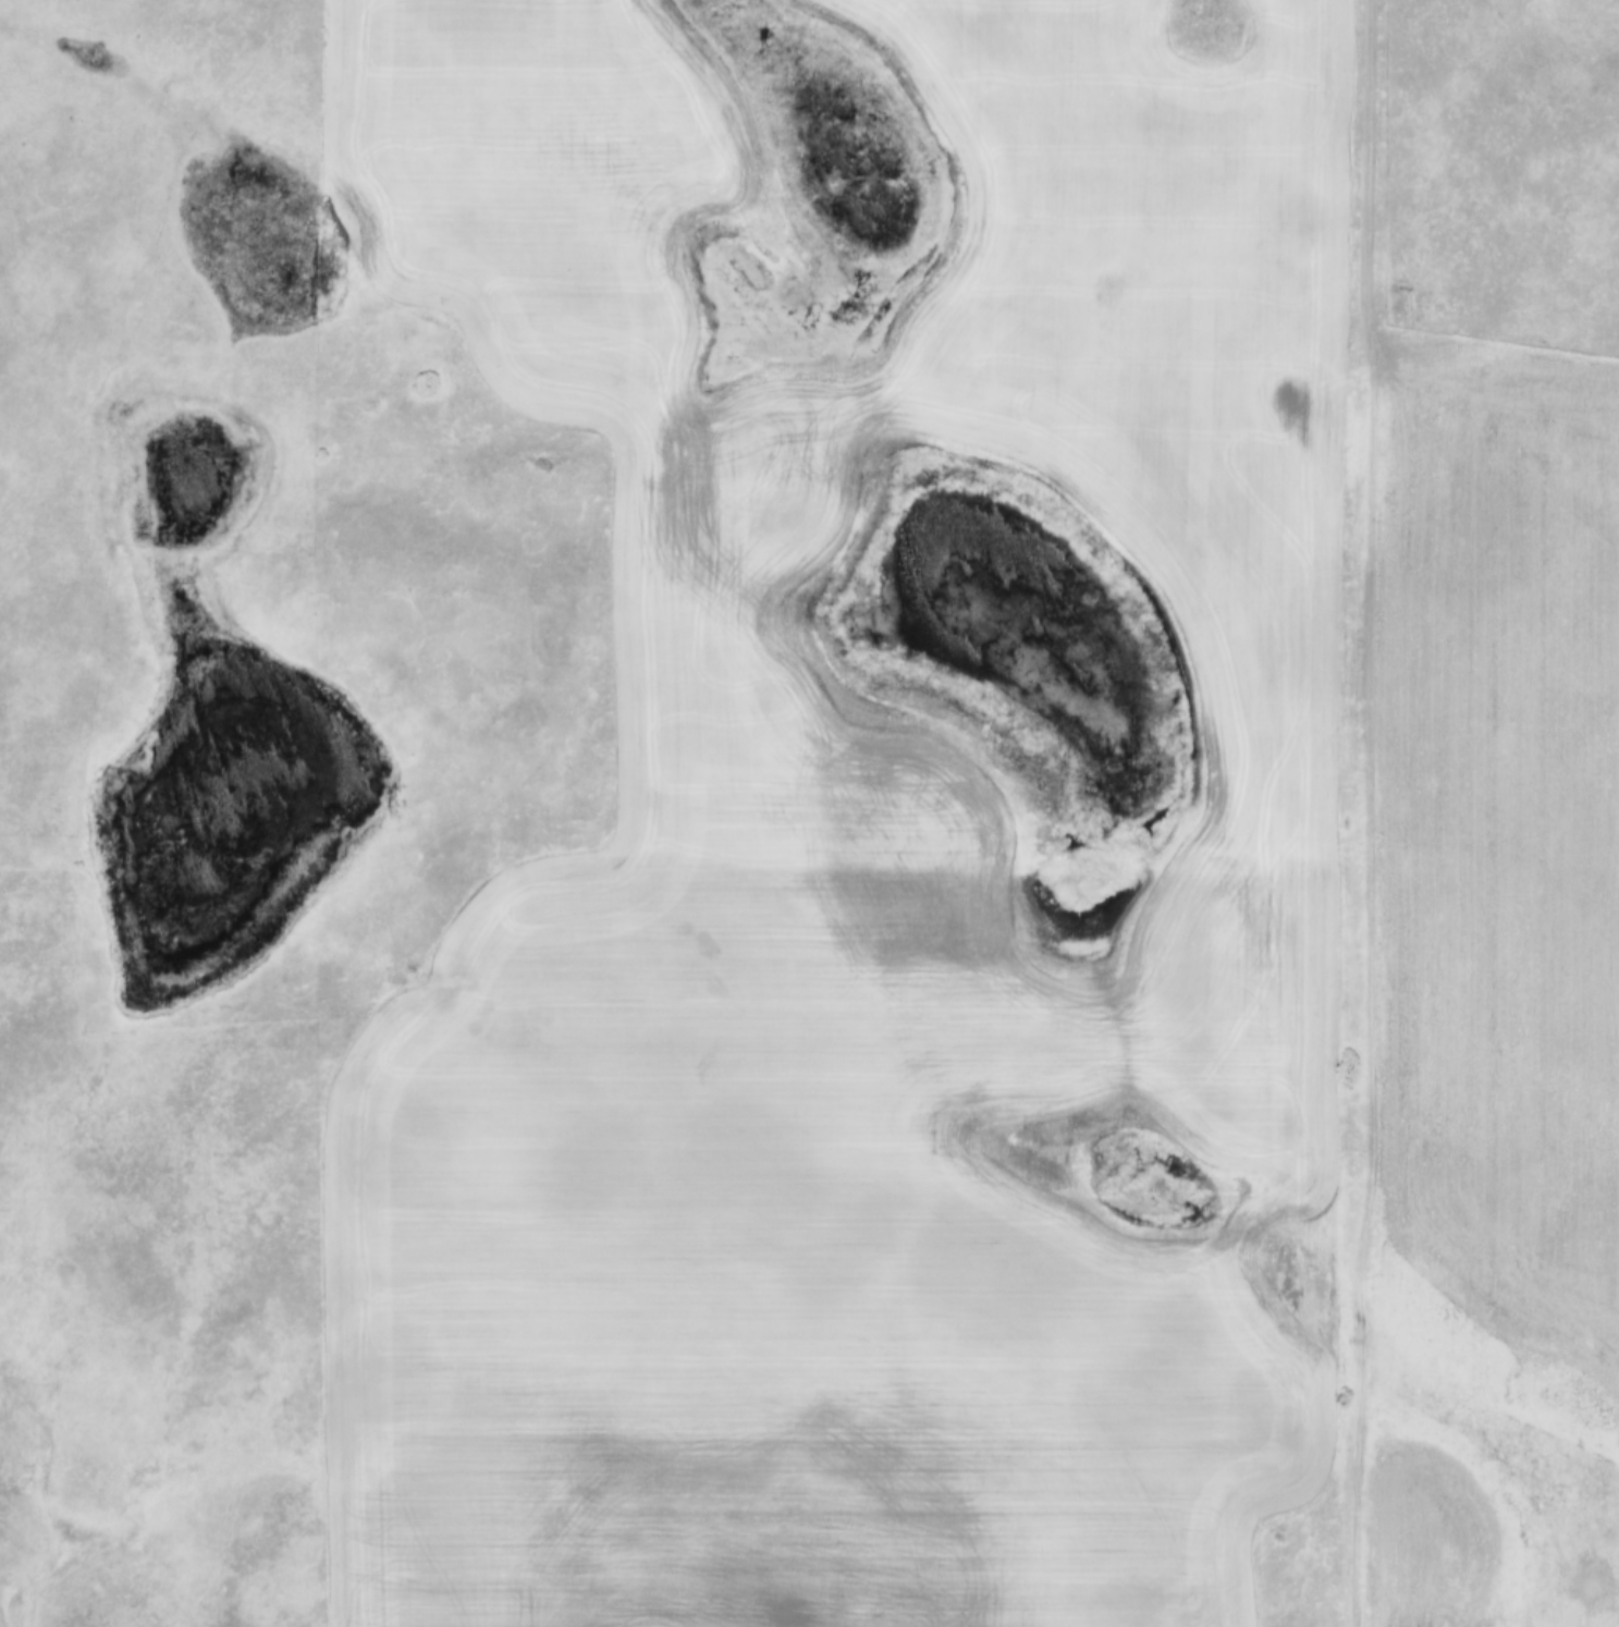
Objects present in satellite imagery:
road: (1371, 813)

